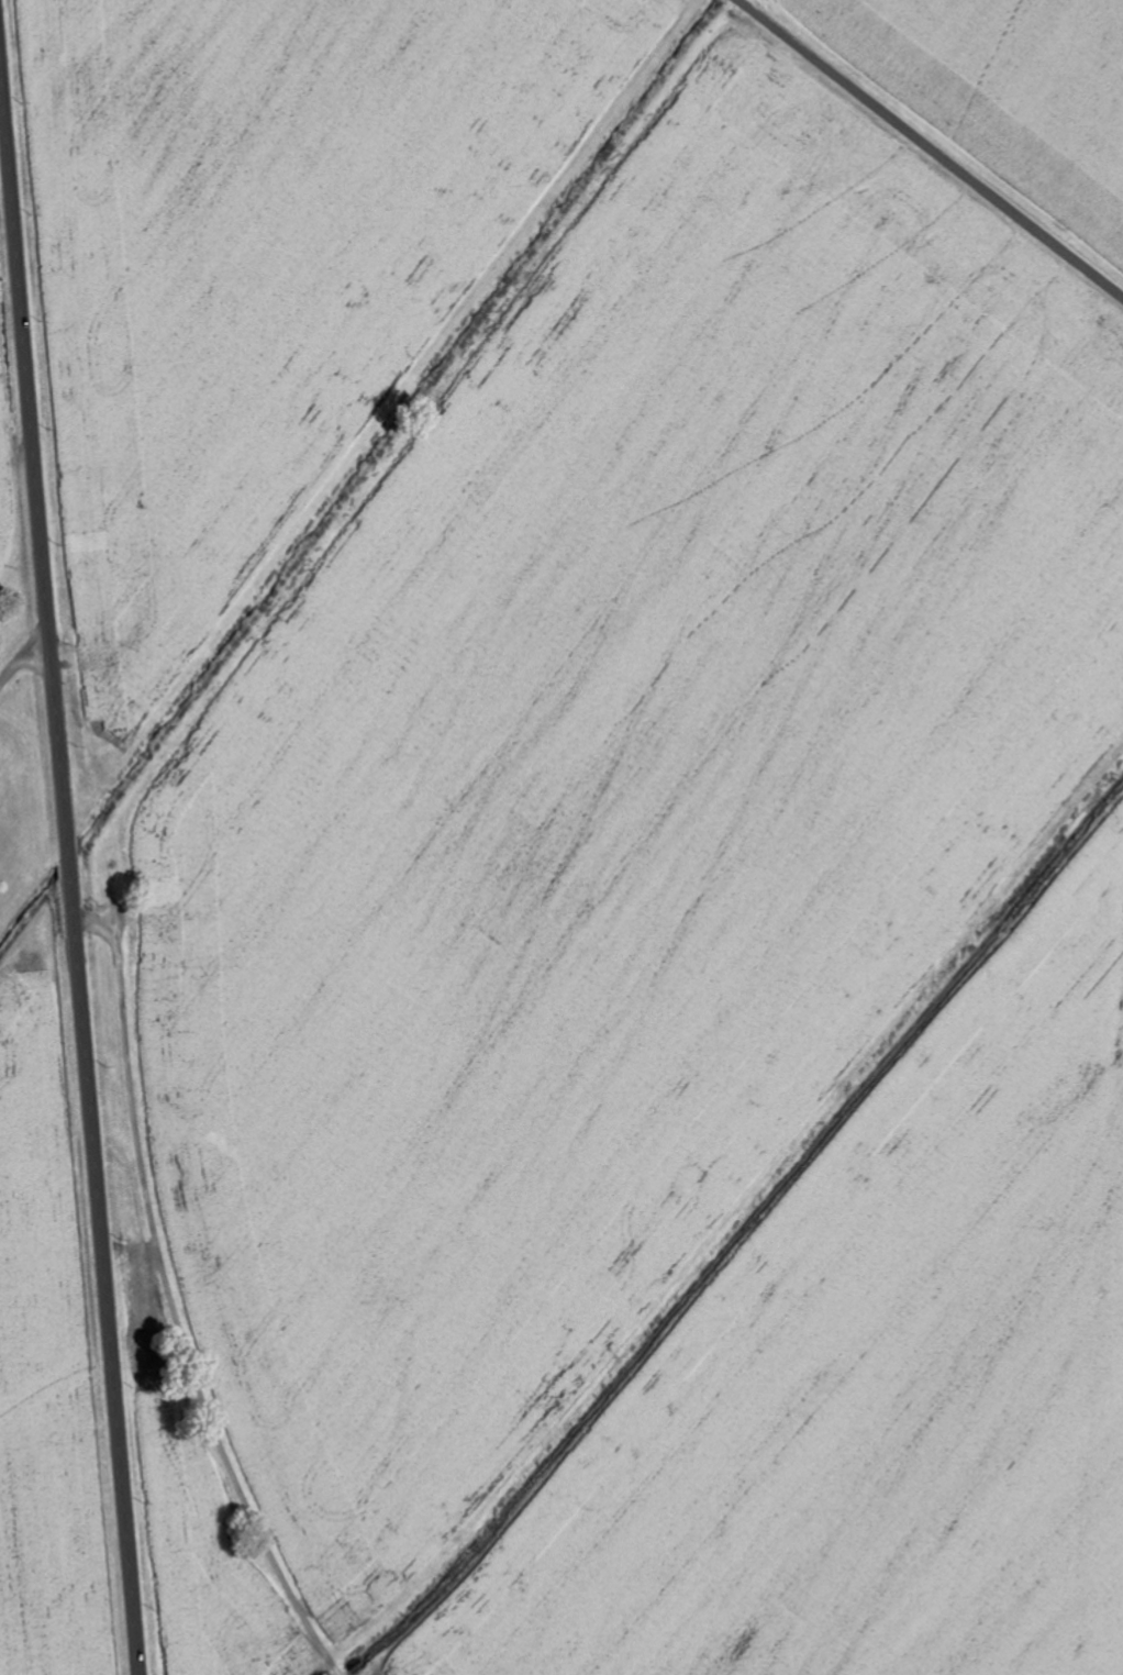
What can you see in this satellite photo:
road: (929, 148)
road: (26, 697)
road: (68, 869)

